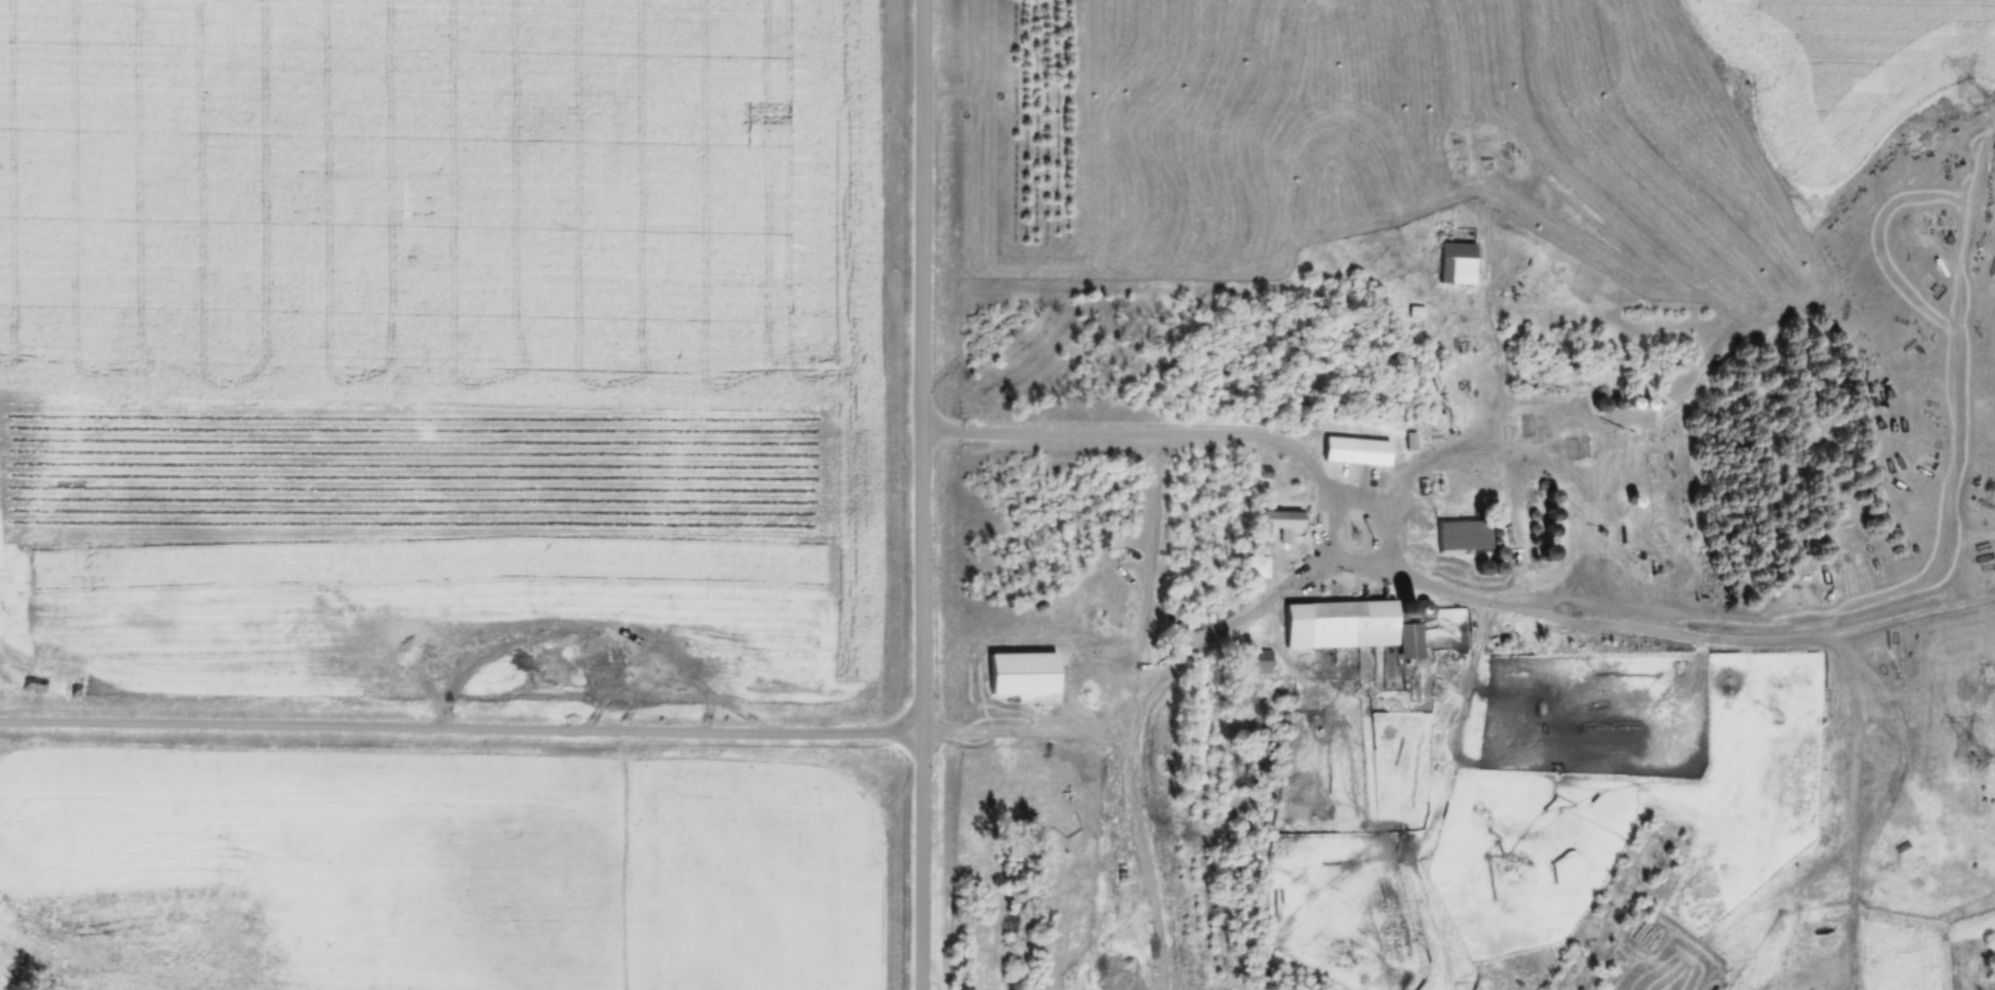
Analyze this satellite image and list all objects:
power tower: (1972, 99)
building: (1456, 259)
building: (1416, 312)
building: (1600, 404)
building: (1525, 425)
building: (1577, 446)
road: (921, 495)
building: (1284, 524)
building: (1463, 537)
building: (1257, 567)
building: (1410, 612)
building: (1339, 620)
building: (1258, 661)
building: (1019, 668)
road: (461, 728)
power tower: (1971, 761)
building: (1816, 900)

